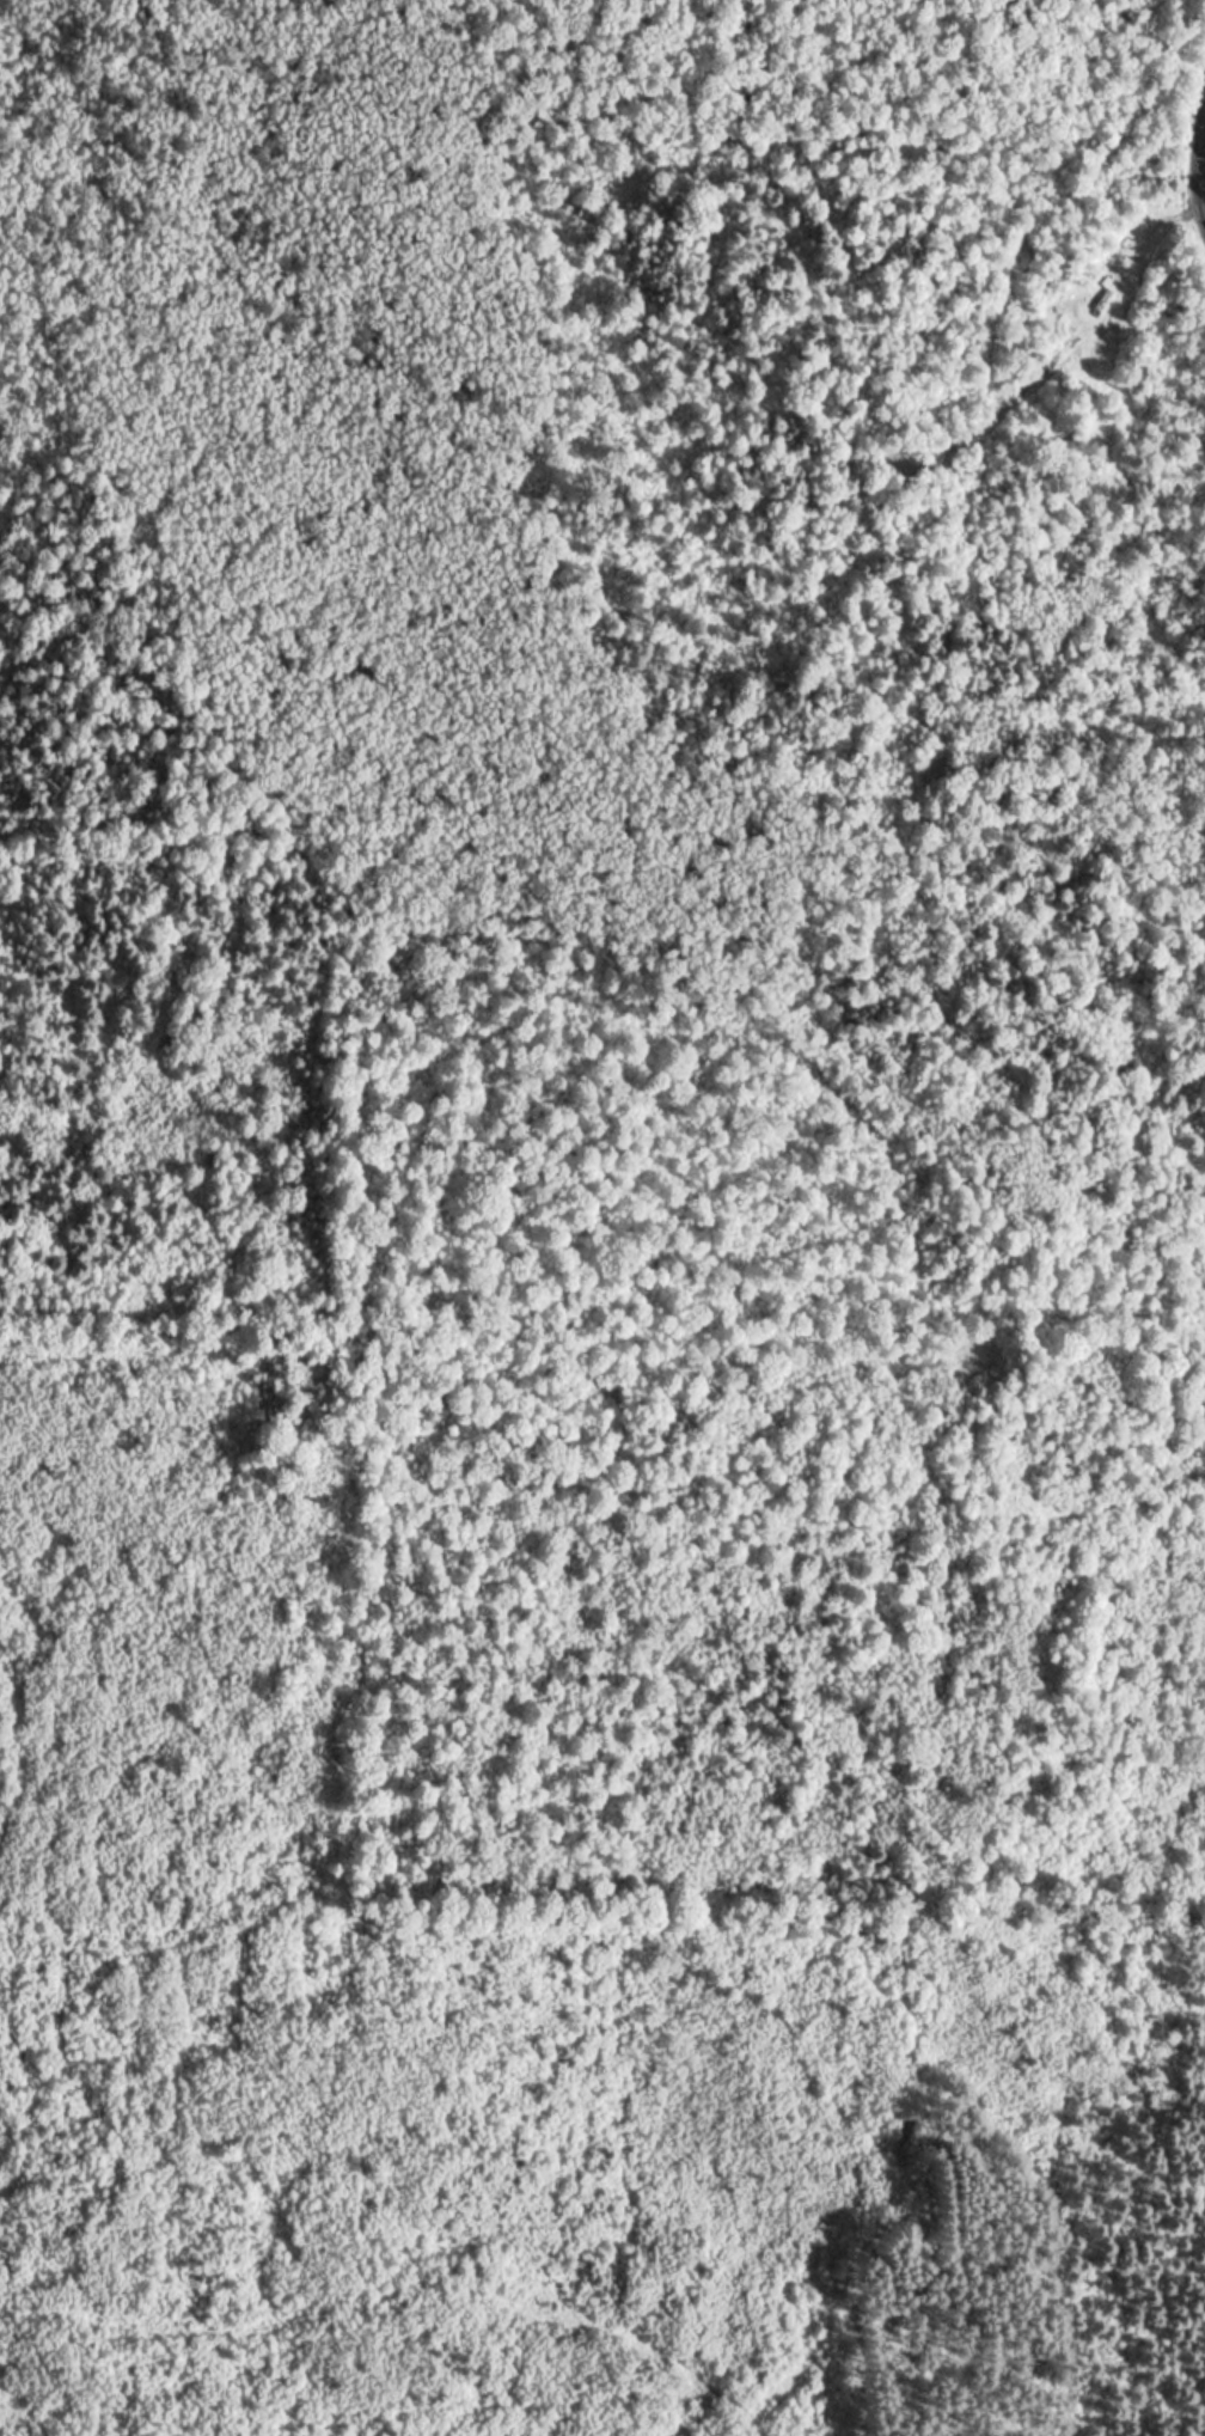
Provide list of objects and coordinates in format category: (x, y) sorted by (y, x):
road: (1176, 138)

